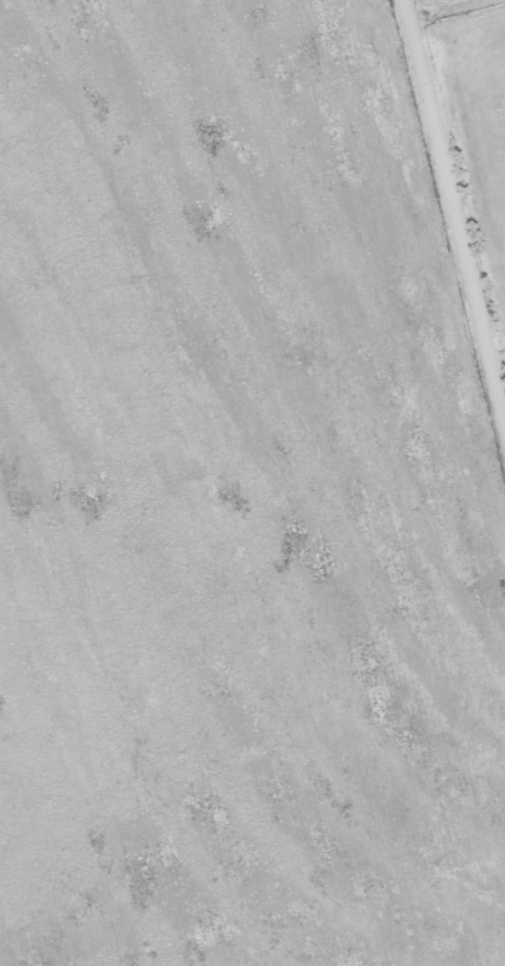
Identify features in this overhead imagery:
road: (447, 247)

